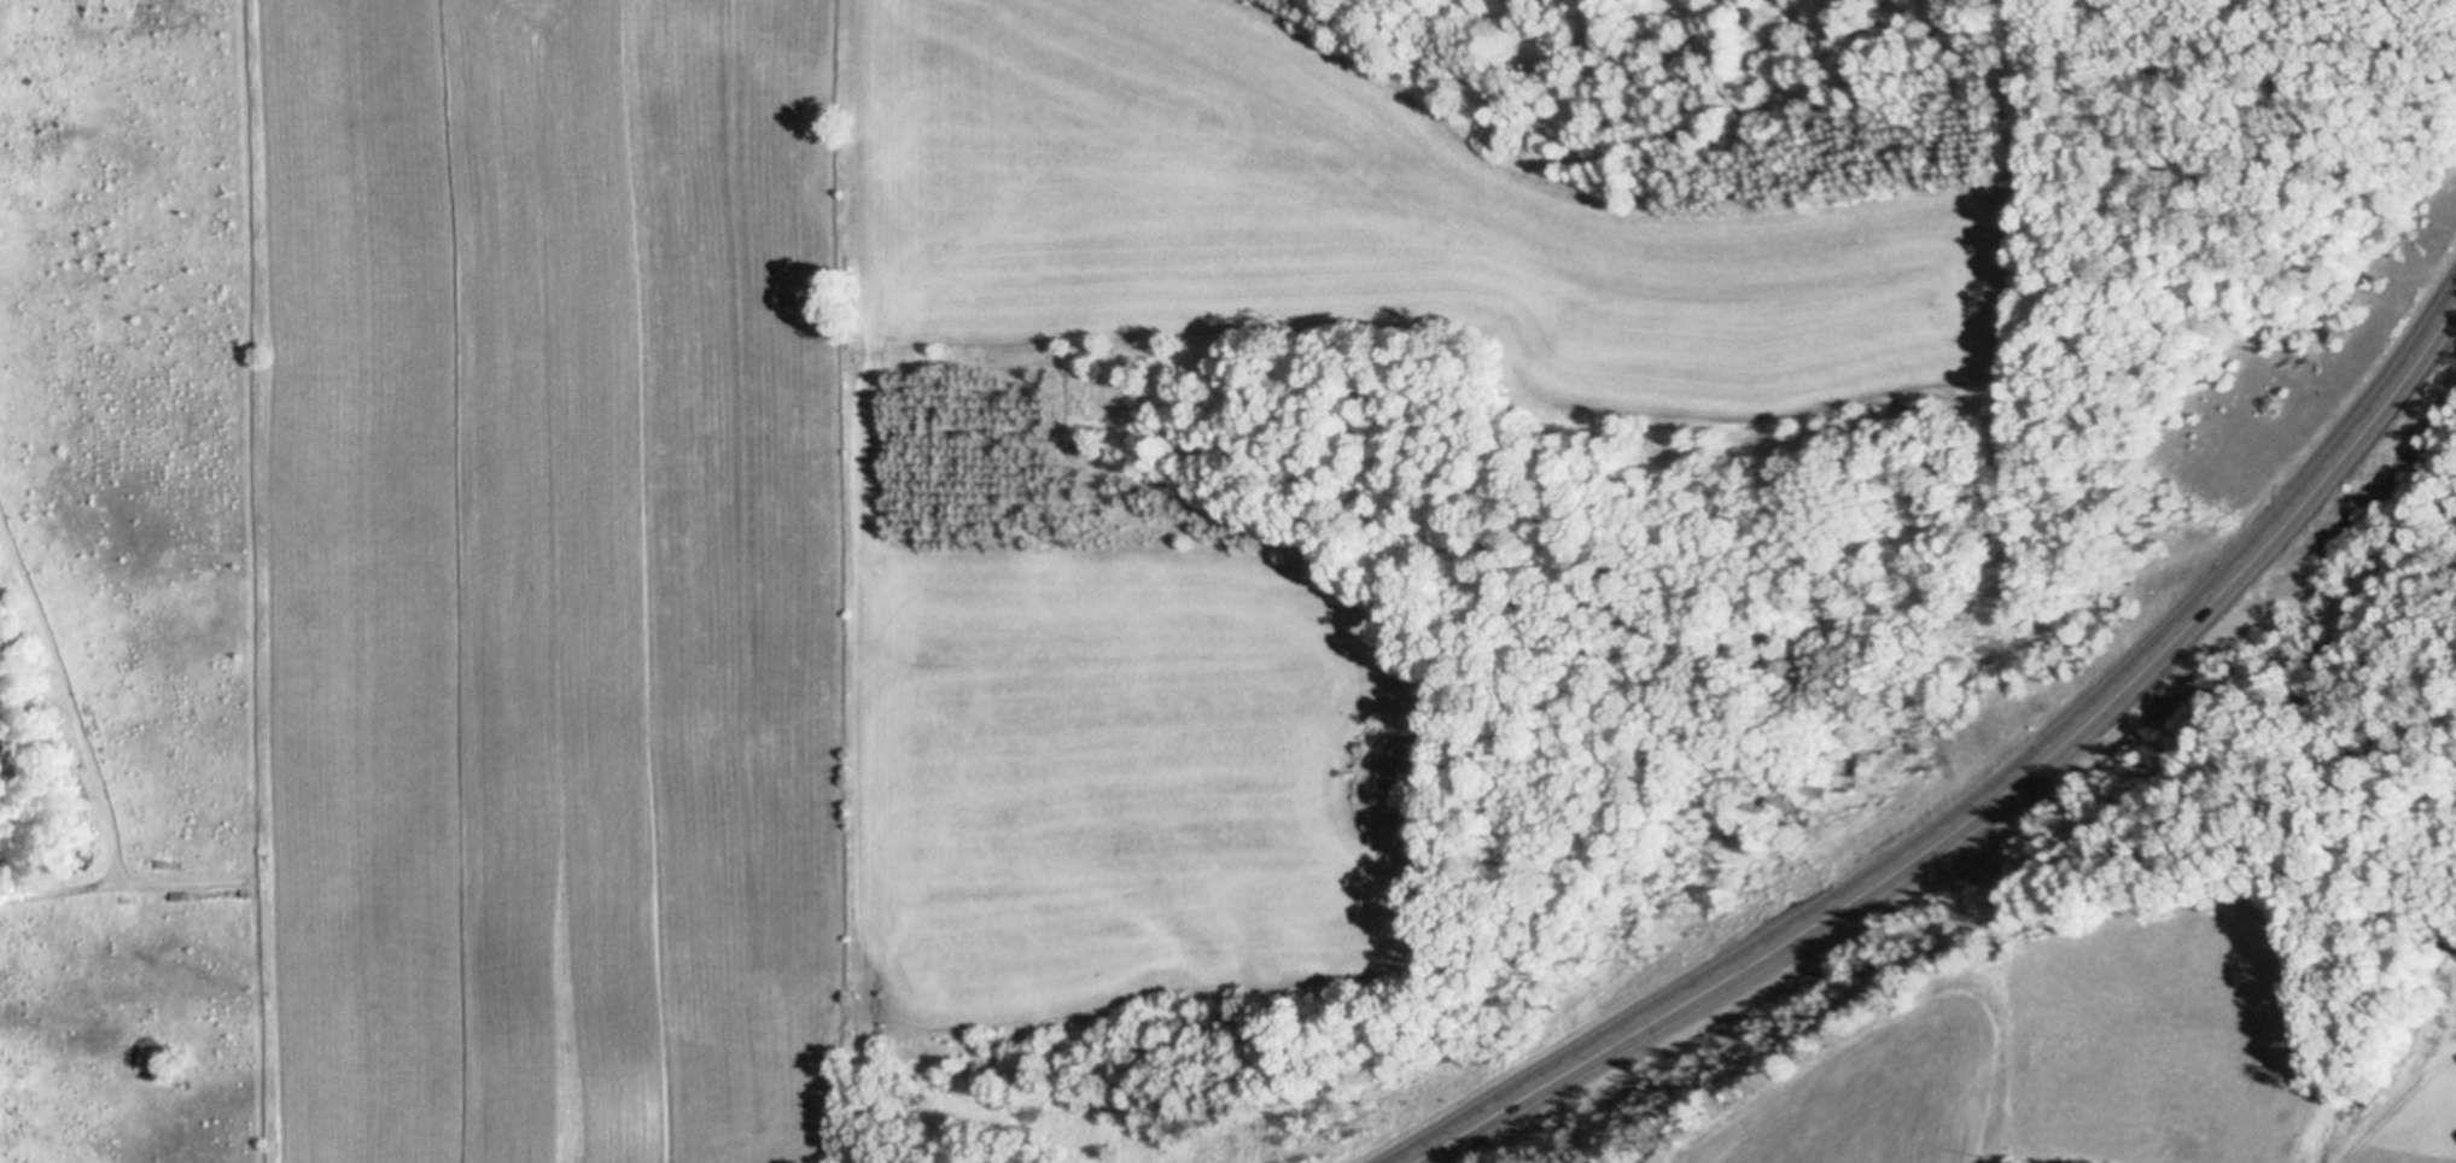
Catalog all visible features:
road: (1996, 802)
road: (2390, 1105)

